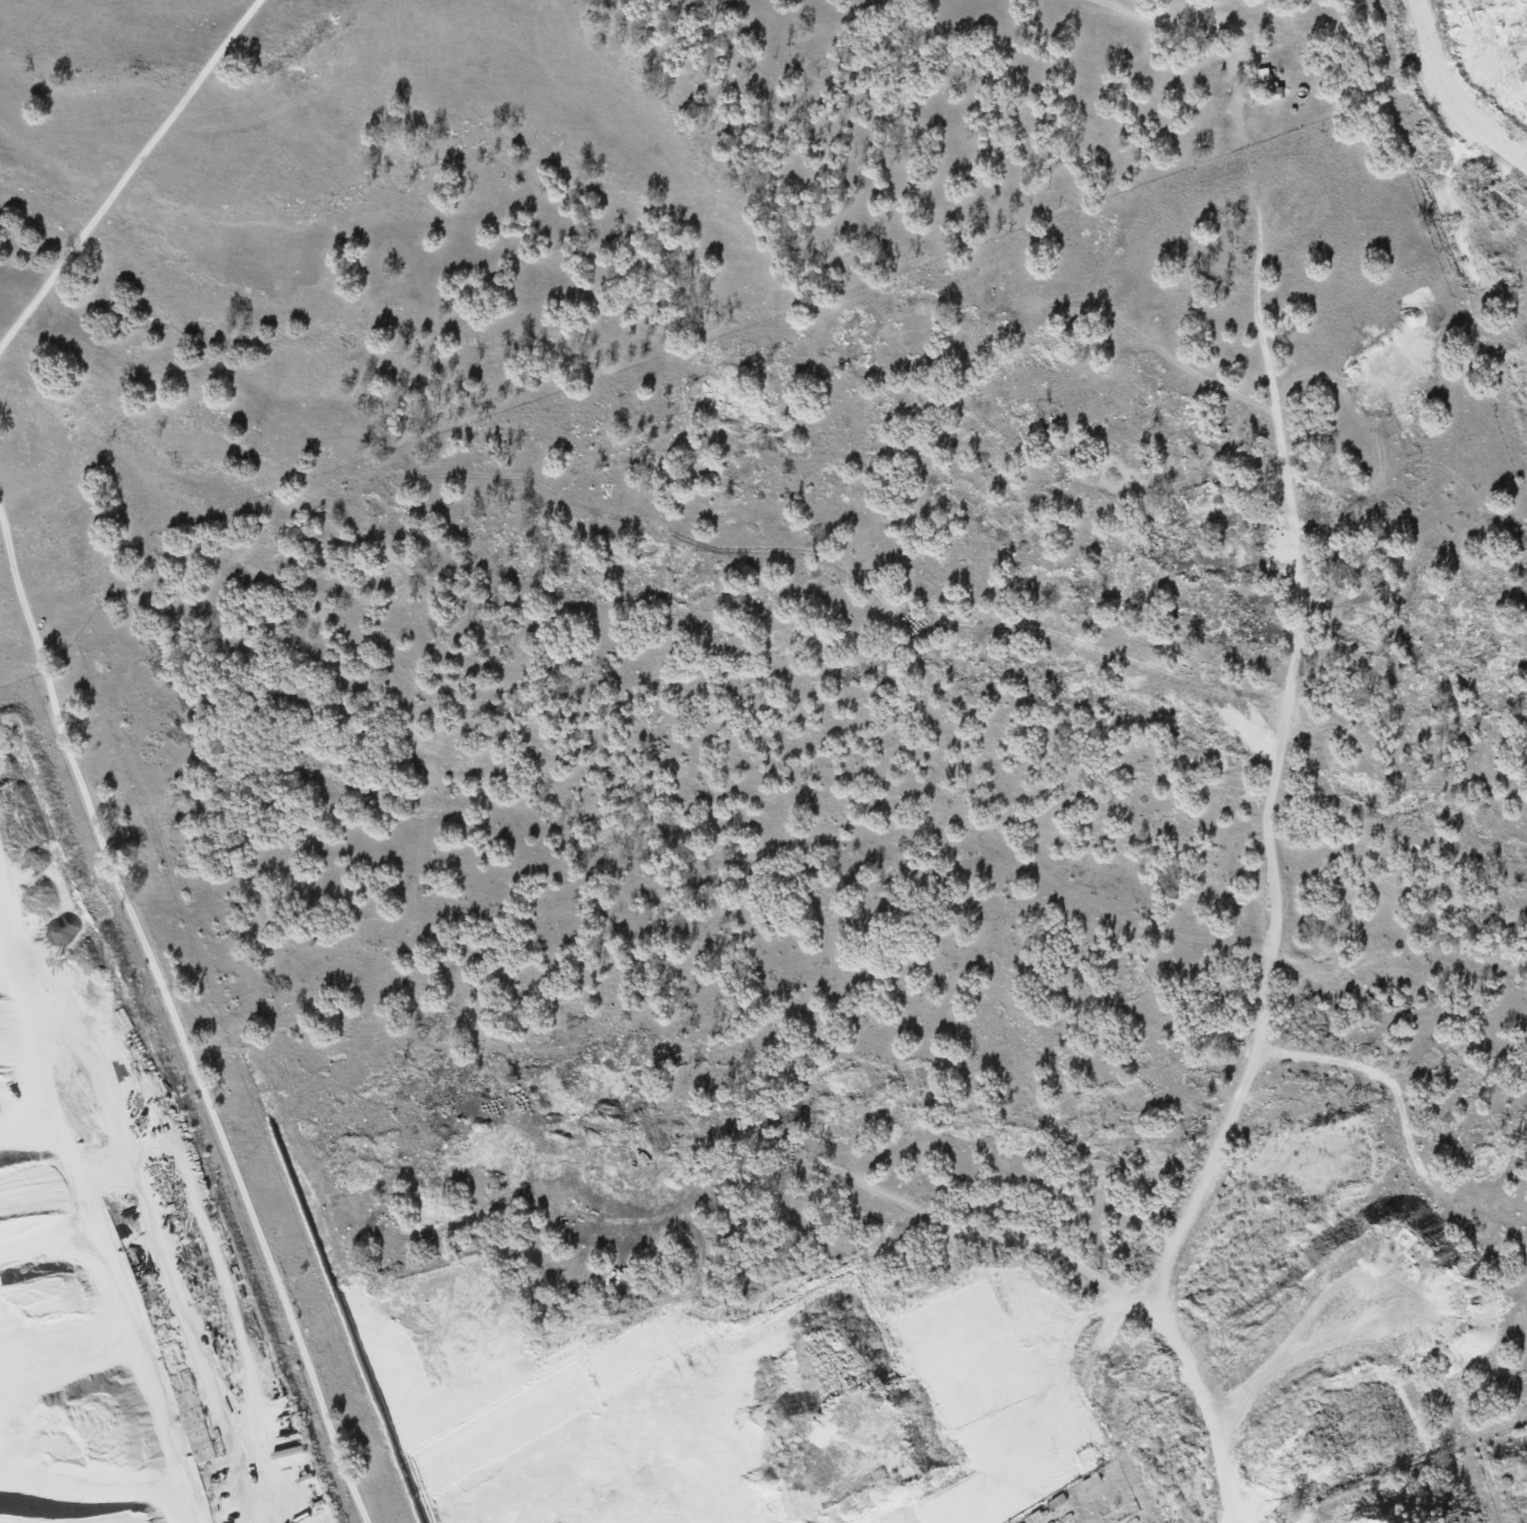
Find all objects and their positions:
road: (1122, 9)
road: (126, 173)
road: (175, 1015)
quarry: (114, 1316)
quarry: (1013, 1360)

